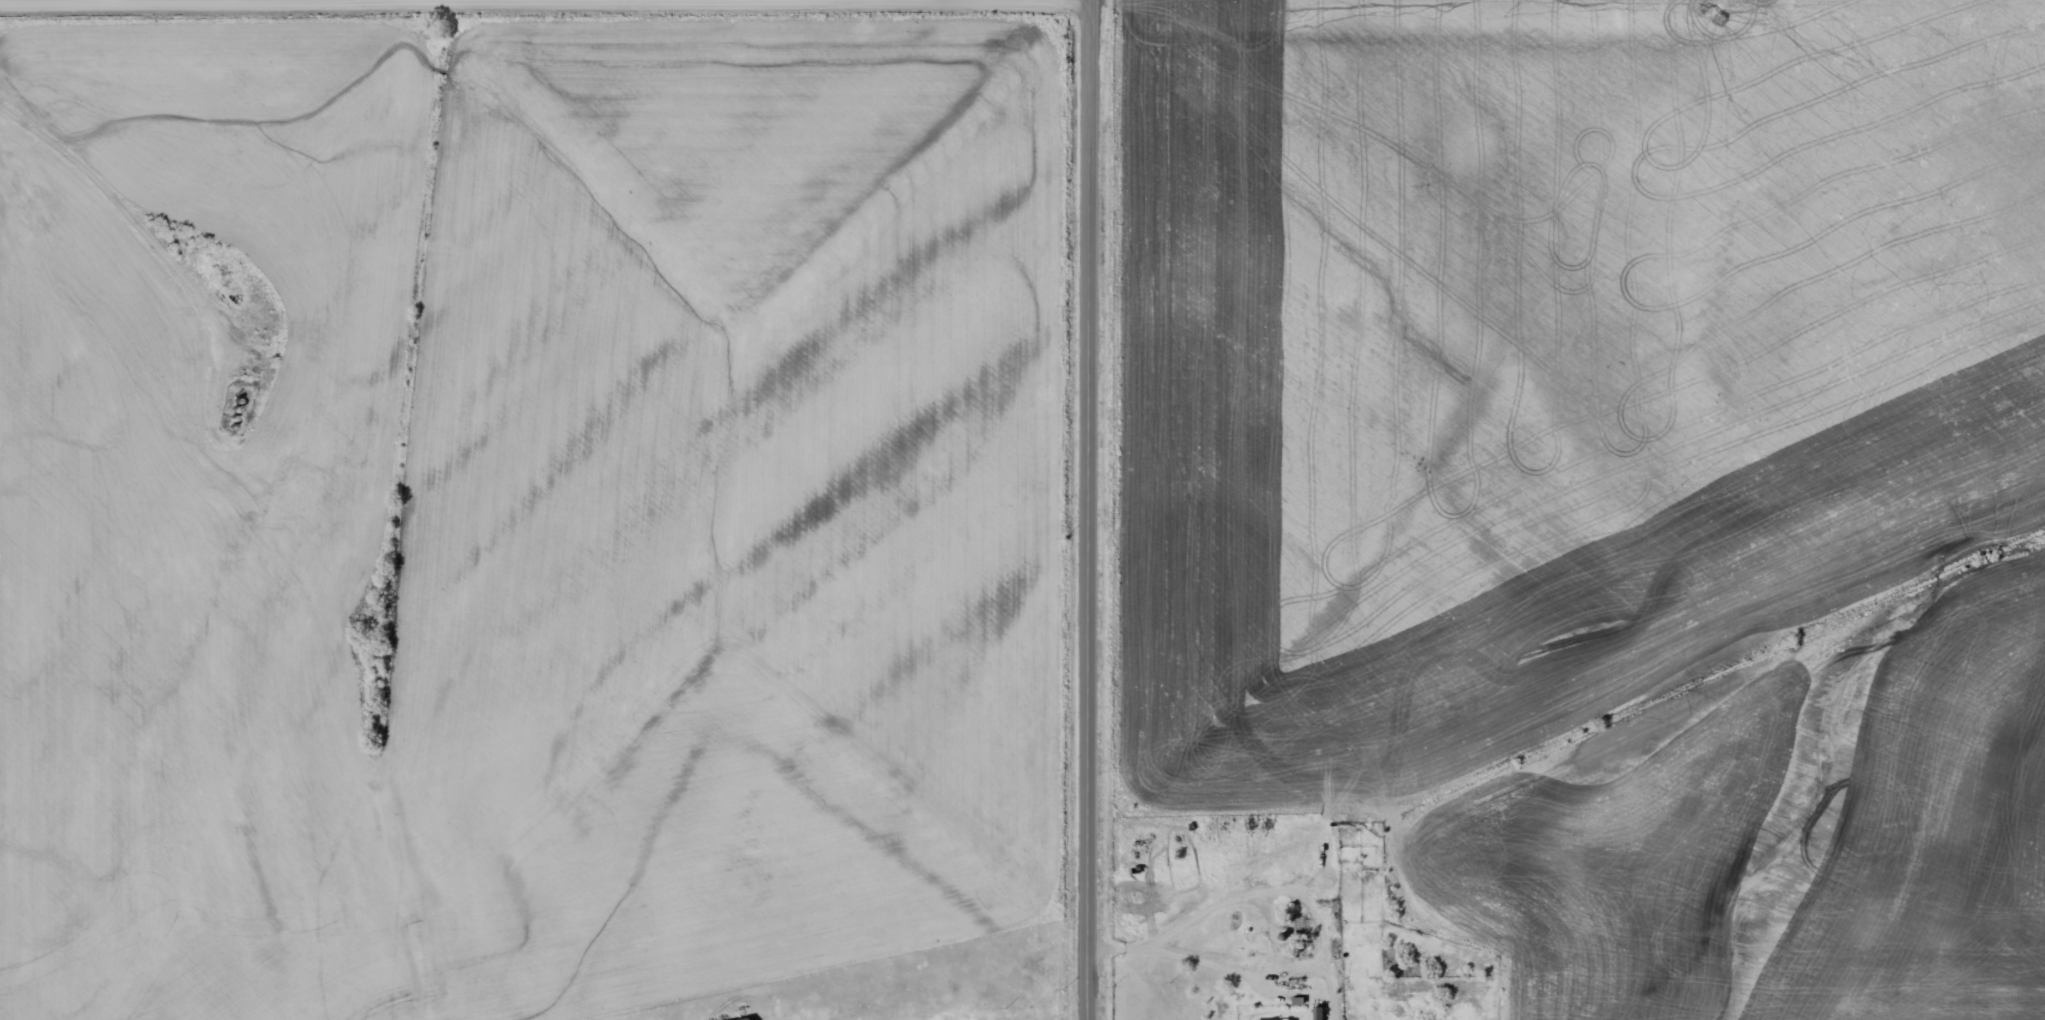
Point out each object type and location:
road: (547, 1)
road: (1093, 510)
building: (1351, 884)
building: (1317, 1013)
building: (748, 1019)
building: (1274, 1019)

